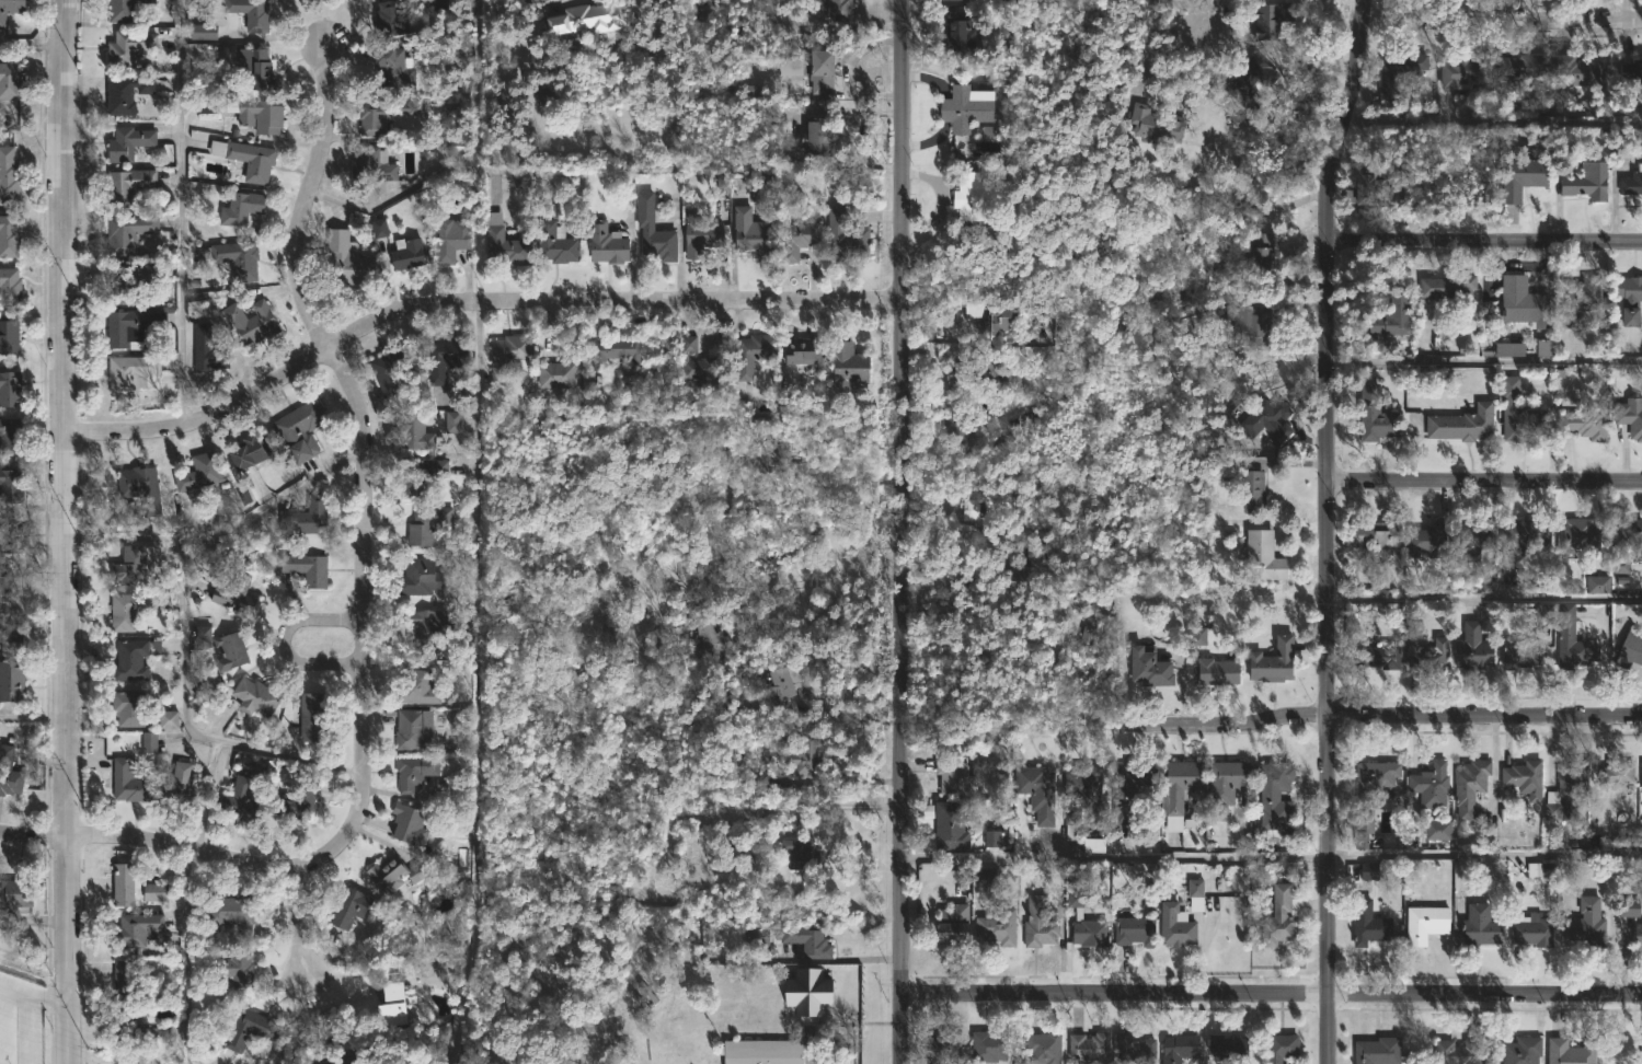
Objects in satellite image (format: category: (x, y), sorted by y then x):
building: (10, 9)
building: (126, 10)
building: (841, 11)
building: (251, 13)
road: (1201, 16)
building: (387, 19)
building: (1275, 20)
building: (585, 22)
road: (1501, 22)
building: (203, 32)
building: (962, 36)
road: (33, 45)
building: (129, 47)
building: (387, 63)
building: (256, 67)
building: (790, 67)
building: (1511, 68)
building: (1630, 68)
building: (1575, 71)
building: (825, 72)
building: (1465, 72)
building: (1400, 74)
building: (10, 79)
building: (1250, 83)
building: (127, 94)
building: (548, 95)
building: (968, 106)
building: (262, 114)
building: (383, 114)
building: (1149, 122)
building: (987, 130)
building: (814, 139)
building: (128, 142)
building: (246, 158)
road: (463, 161)
building: (369, 169)
building: (9, 175)
building: (1522, 176)
building: (842, 181)
building: (1587, 181)
building: (1631, 182)
building: (128, 185)
building: (1371, 188)
building: (975, 195)
building: (242, 207)
road: (180, 211)
building: (751, 225)
building: (379, 228)
building: (654, 230)
building: (128, 232)
building: (9, 236)
building: (702, 236)
building: (847, 238)
building: (450, 239)
building: (552, 239)
building: (796, 240)
building: (504, 242)
road: (1484, 242)
building: (605, 243)
building: (409, 252)
building: (1261, 252)
building: (346, 257)
building: (236, 258)
building: (128, 281)
building: (10, 286)
building: (1448, 288)
building: (1578, 298)
road: (469, 300)
building: (1630, 300)
building: (1524, 302)
building: (1255, 319)
building: (992, 320)
building: (1387, 320)
building: (252, 322)
building: (134, 326)
building: (9, 336)
building: (208, 348)
building: (1508, 348)
building: (1543, 348)
building: (613, 351)
building: (803, 351)
building: (750, 356)
building: (443, 358)
building: (697, 362)
building: (852, 366)
building: (496, 370)
building: (989, 370)
building: (388, 371)
building: (554, 374)
building: (134, 375)
building: (10, 388)
building: (1517, 413)
building: (1374, 415)
road: (66, 416)
building: (1630, 417)
building: (1264, 419)
building: (452, 421)
building: (953, 423)
building: (1585, 423)
building: (1461, 425)
building: (301, 430)
building: (415, 431)
building: (11, 436)
building: (248, 453)
building: (761, 454)
building: (421, 475)
building: (197, 479)
road: (1484, 483)
building: (11, 485)
building: (141, 488)
building: (1252, 491)
road: (796, 500)
building: (989, 504)
building: (308, 517)
building: (428, 524)
road: (1327, 530)
building: (1630, 531)
road: (899, 532)
building: (10, 533)
building: (1376, 534)
building: (1580, 534)
building: (1472, 539)
building: (1519, 540)
building: (1427, 541)
building: (1266, 556)
building: (137, 566)
building: (1620, 566)
building: (307, 568)
building: (1031, 569)
building: (421, 578)
road: (363, 579)
road: (813, 582)
building: (4, 585)
building: (1597, 585)
building: (1488, 586)
building: (1442, 587)
building: (237, 593)
road: (1484, 594)
building: (129, 609)
building: (676, 613)
building: (1096, 618)
road: (184, 623)
building: (425, 627)
building: (616, 627)
building: (709, 634)
building: (10, 635)
building: (203, 636)
building: (1197, 636)
road: (284, 640)
building: (1571, 640)
building: (1473, 648)
building: (1630, 648)
building: (230, 651)
building: (1368, 654)
building: (1427, 654)
building: (1519, 656)
building: (131, 660)
building: (1275, 660)
building: (1148, 669)
building: (1215, 672)
building: (11, 680)
road: (475, 683)
building: (417, 689)
building: (792, 691)
building: (257, 695)
building: (129, 708)
building: (313, 716)
road: (32, 719)
building: (168, 719)
road: (1271, 720)
building: (415, 729)
building: (149, 742)
building: (799, 753)
building: (415, 768)
building: (9, 773)
building: (1616, 773)
building: (1641, 774)
building: (956, 775)
building: (1523, 778)
building: (129, 782)
building: (758, 782)
building: (1431, 784)
building: (1224, 786)
building: (1277, 786)
building: (1469, 786)
building: (185, 788)
building: (1128, 789)
building: (1565, 790)
building: (1178, 791)
building: (1041, 793)
building: (1081, 795)
building: (1368, 796)
building: (292, 800)
building: (241, 802)
building: (948, 822)
building: (411, 825)
building: (1437, 830)
road: (32, 833)
building: (991, 839)
building: (1093, 845)
building: (730, 847)
building: (697, 849)
building: (803, 853)
road: (1272, 853)
building: (1371, 870)
building: (389, 872)
building: (986, 876)
building: (125, 877)
building: (157, 892)
building: (1194, 893)
building: (13, 898)
building: (1629, 907)
building: (351, 909)
building: (233, 911)
building: (1080, 914)
building: (1279, 916)
road: (296, 922)
building: (1038, 923)
building: (1367, 923)
building: (1425, 923)
building: (1587, 923)
building: (1174, 924)
building: (951, 925)
building: (996, 926)
building: (1479, 926)
building: (136, 929)
building: (1132, 929)
building: (1531, 929)
building: (1638, 935)
building: (754, 936)
building: (804, 939)
road: (65, 948)
road: (186, 956)
building: (233, 969)
building: (127, 978)
road: (32, 991)
road: (1272, 993)
building: (807, 994)
building: (393, 1003)
parking lot: (9, 1019)
building: (136, 1023)
building: (250, 1029)
building: (945, 1045)
building: (1088, 1045)
building: (987, 1046)
building: (1285, 1046)
building: (1043, 1048)
building: (1178, 1048)
building: (1227, 1048)
building: (1133, 1049)
building: (762, 1051)
building: (1377, 1051)
building: (1520, 1051)
building: (1570, 1051)
building: (1456, 1052)
building: (341, 1055)

